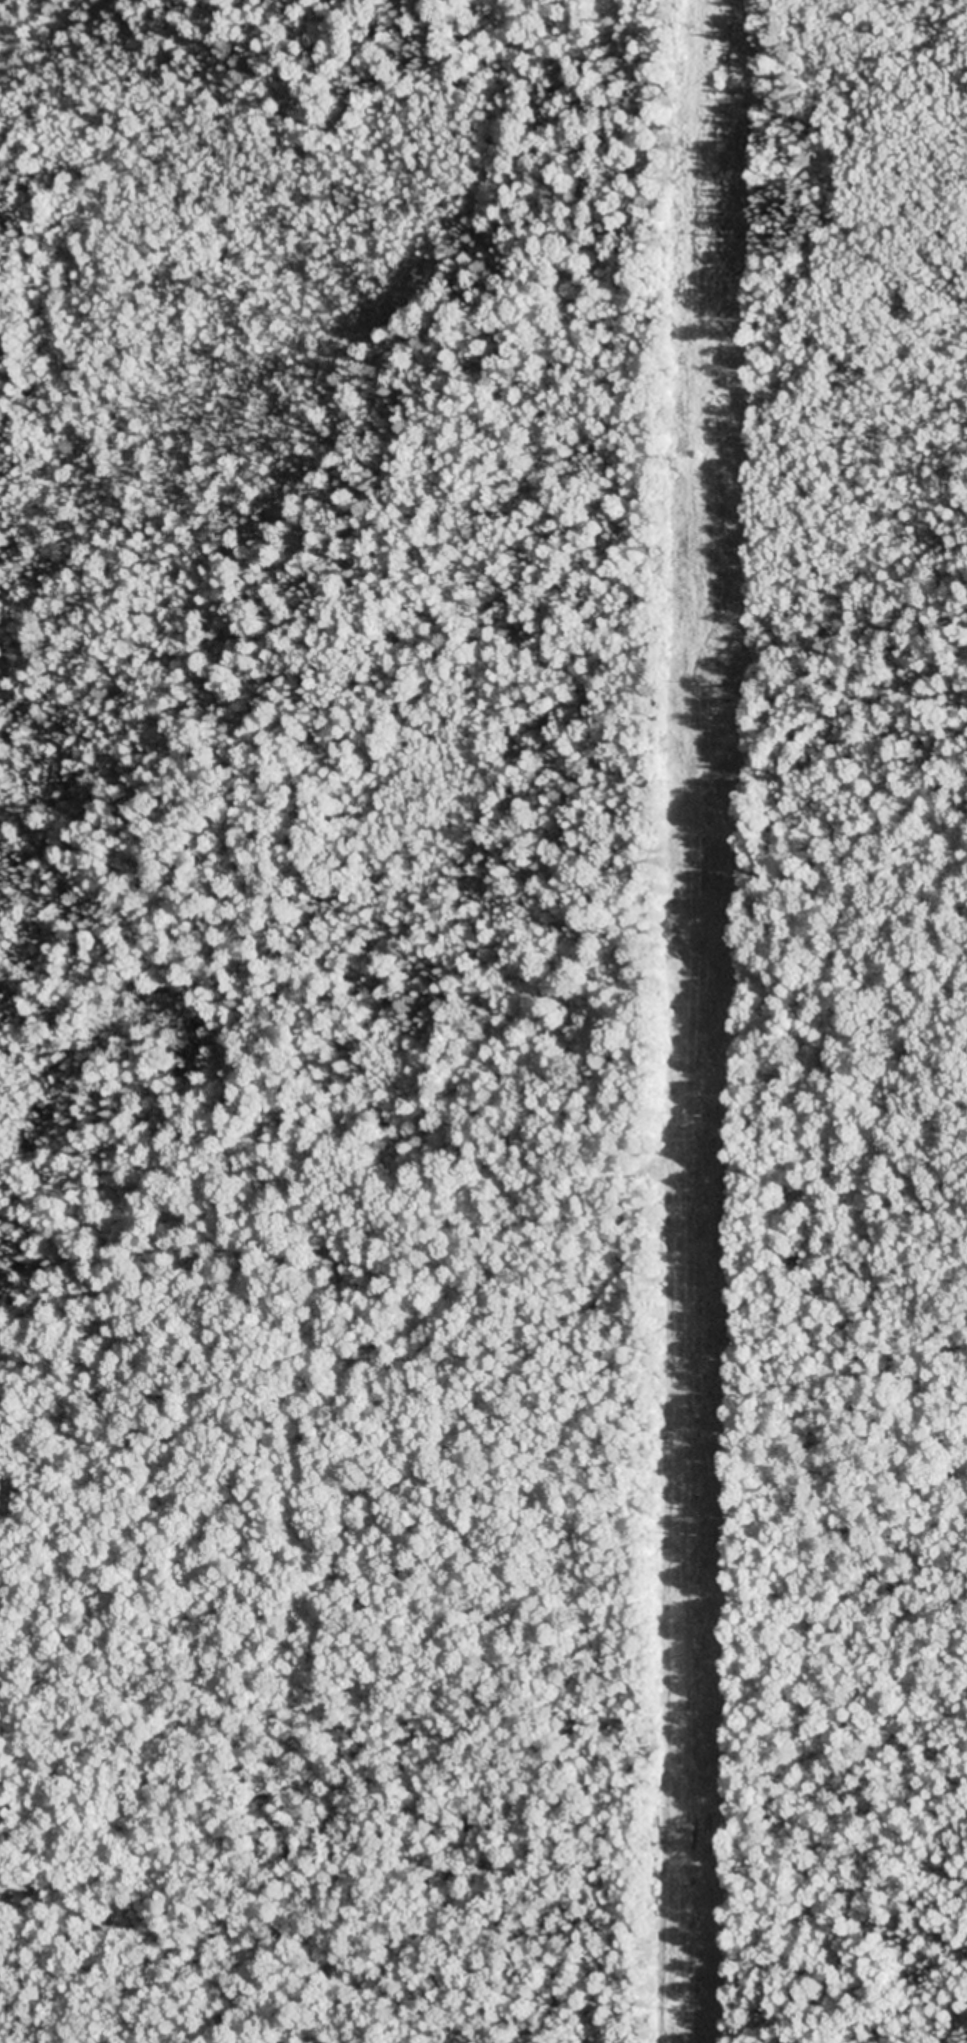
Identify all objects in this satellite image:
power tower: (715, 236)
power tower: (709, 685)
power tower: (705, 1119)
power tower: (697, 1534)
power tower: (692, 2009)

